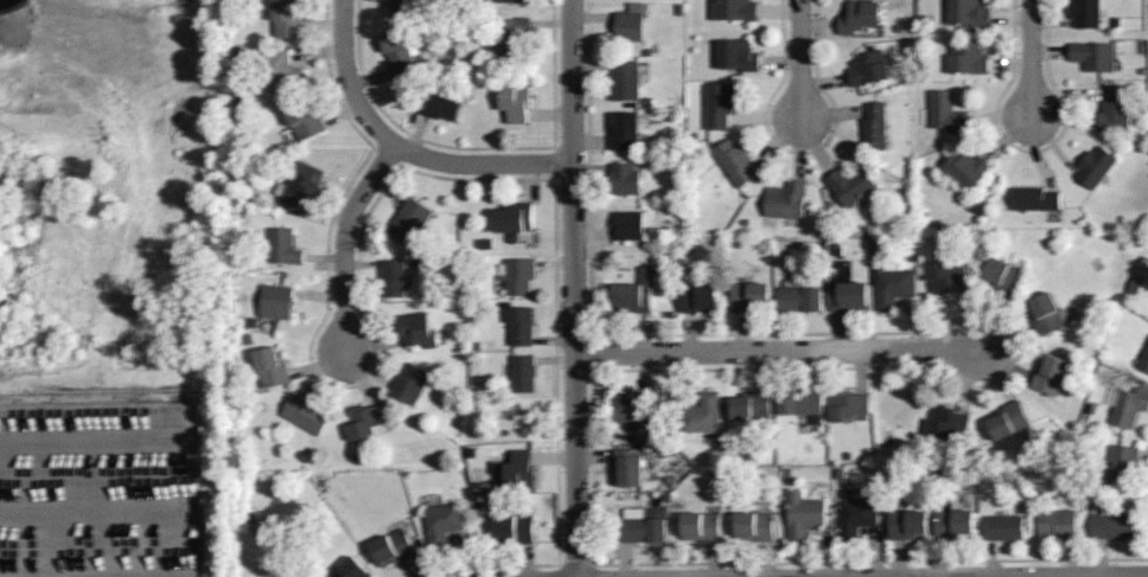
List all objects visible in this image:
building: (509, 0)
building: (401, 4)
building: (735, 8)
building: (970, 11)
building: (1083, 13)
building: (860, 15)
building: (287, 18)
building: (631, 25)
building: (510, 34)
building: (401, 53)
building: (739, 53)
building: (1095, 53)
building: (970, 56)
road: (1029, 57)
road: (799, 58)
building: (869, 68)
building: (282, 70)
building: (627, 81)
building: (441, 102)
building: (515, 102)
building: (720, 105)
building: (946, 110)
building: (1112, 110)
building: (304, 118)
building: (876, 127)
building: (625, 132)
road: (403, 149)
building: (735, 162)
building: (1093, 167)
building: (963, 169)
building: (624, 178)
building: (300, 185)
building: (850, 185)
building: (785, 200)
building: (1035, 200)
building: (514, 217)
building: (408, 220)
building: (629, 225)
road: (343, 241)
building: (282, 245)
building: (517, 275)
building: (944, 275)
building: (1004, 276)
building: (391, 277)
building: (893, 284)
road: (574, 288)
building: (634, 291)
building: (748, 296)
building: (848, 296)
building: (697, 297)
building: (799, 299)
building: (275, 301)
building: (1045, 313)
building: (521, 325)
building: (415, 329)
road: (777, 350)
building: (1143, 358)
building: (270, 366)
building: (522, 373)
building: (1050, 373)
building: (409, 383)
building: (802, 402)
building: (632, 405)
building: (751, 405)
building: (848, 405)
building: (1129, 406)
building: (305, 413)
building: (701, 413)
building: (363, 419)
building: (1008, 419)
building: (946, 421)
building: (645, 437)
building: (1121, 461)
building: (629, 467)
building: (519, 470)
building: (802, 514)
building: (855, 514)
building: (952, 521)
building: (441, 522)
building: (906, 522)
building: (1055, 522)
building: (1111, 524)
building: (642, 525)
building: (754, 525)
building: (700, 526)
building: (515, 527)
building: (1003, 527)
building: (393, 547)
building: (353, 569)
road: (1026, 575)

